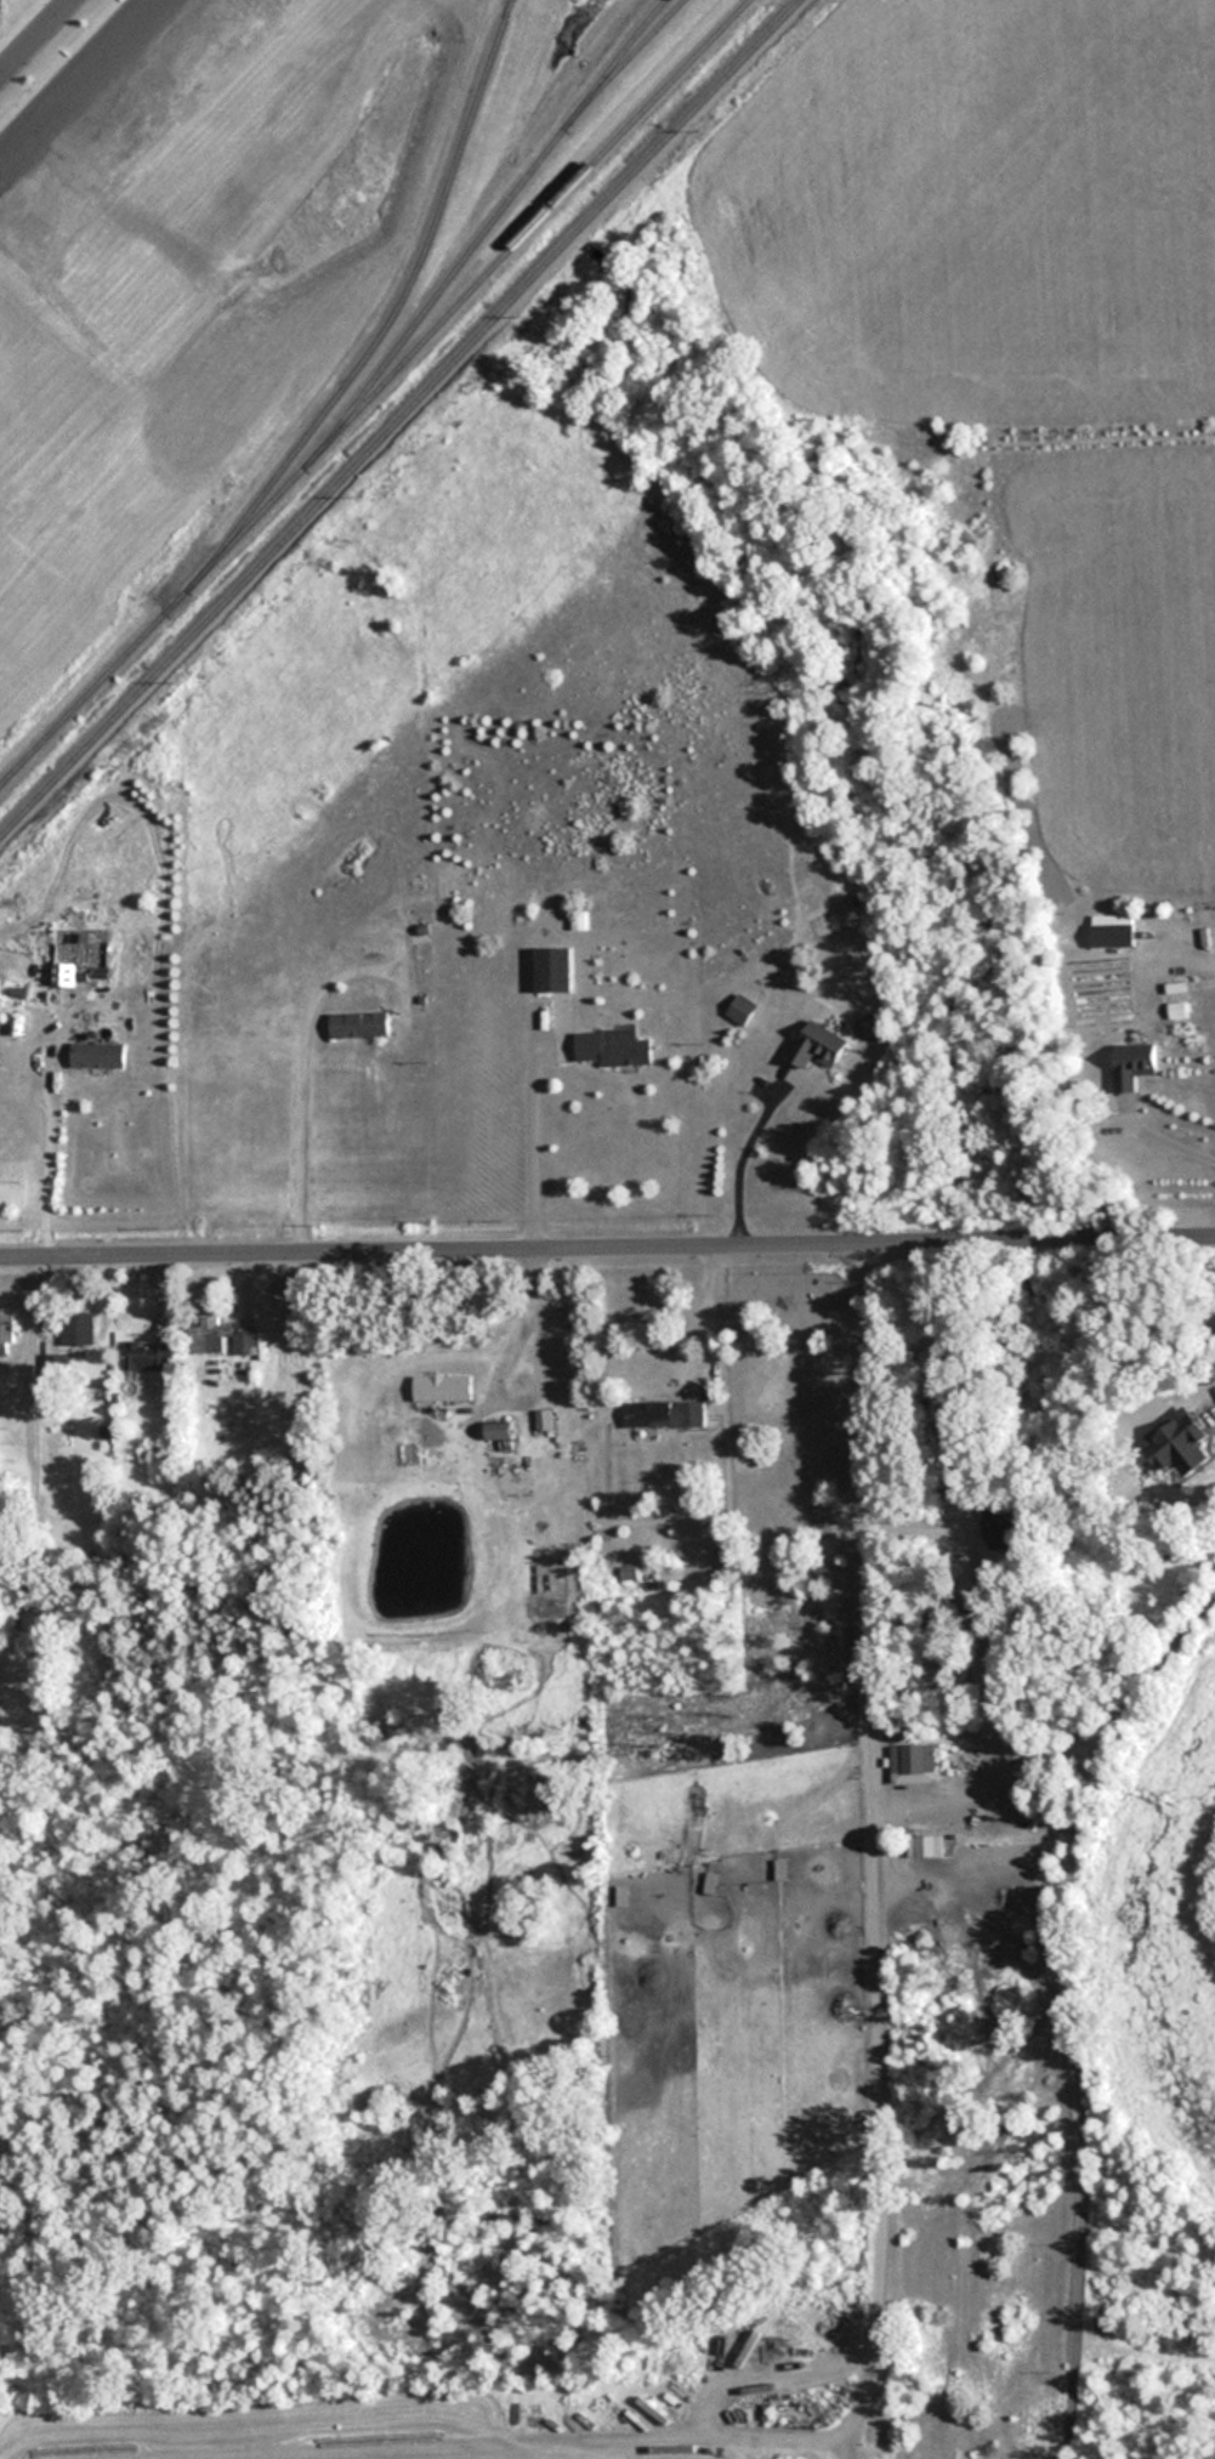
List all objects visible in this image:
road: (30, 32)
railway: (636, 41)
railway: (493, 218)
railway: (402, 294)
railway: (373, 391)
railway: (398, 416)
building: (1113, 935)
building: (552, 967)
building: (740, 1009)
building: (1177, 1010)
building: (357, 1023)
building: (818, 1045)
building: (611, 1049)
building: (51, 1055)
building: (96, 1055)
building: (1134, 1064)
road: (294, 1080)
road: (522, 1137)
road: (1165, 1138)
road: (41, 1153)
road: (734, 1153)
road: (607, 1249)
road: (700, 1316)
building: (6, 1333)
building: (218, 1335)
building: (67, 1345)
building: (146, 1355)
road: (489, 1376)
building: (442, 1387)
building: (665, 1413)
building: (498, 1431)
building: (1177, 1443)
building: (629, 1573)
building: (913, 1762)
building: (925, 1845)
road: (1041, 1978)

